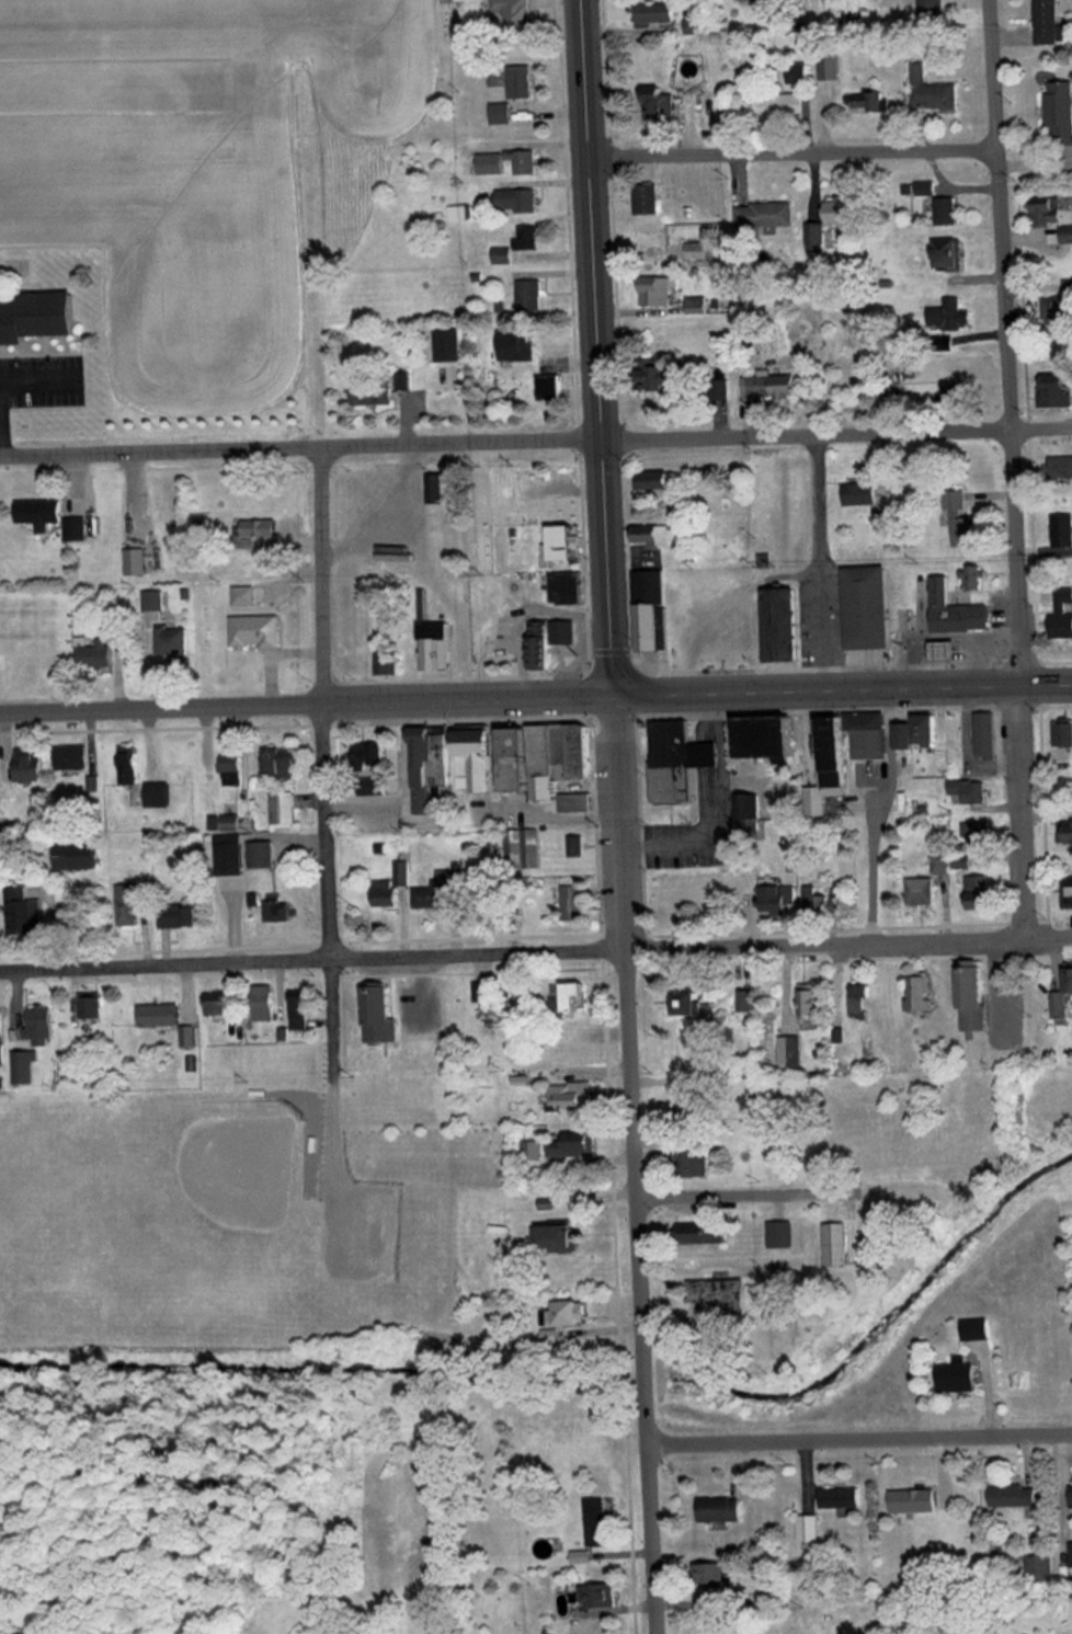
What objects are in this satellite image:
building: (935, 10)
building: (514, 16)
building: (655, 16)
building: (1051, 24)
building: (703, 28)
building: (832, 69)
building: (522, 82)
building: (934, 93)
building: (794, 95)
building: (870, 102)
building: (660, 104)
building: (503, 114)
building: (1061, 115)
road: (792, 152)
building: (525, 162)
building: (648, 195)
building: (518, 201)
building: (1049, 210)
building: (947, 212)
building: (845, 214)
building: (767, 216)
building: (1068, 236)
building: (529, 237)
building: (817, 238)
building: (650, 239)
building: (699, 251)
building: (950, 254)
building: (657, 292)
building: (531, 295)
building: (1059, 309)
building: (953, 315)
building: (41, 317)
building: (449, 345)
building: (518, 346)
road: (598, 347)
building: (663, 377)
building: (403, 381)
building: (552, 388)
building: (772, 388)
building: (1058, 391)
building: (374, 393)
building: (960, 395)
road: (836, 434)
road: (301, 453)
road: (1011, 468)
building: (1061, 469)
building: (735, 473)
building: (660, 480)
building: (437, 490)
building: (860, 494)
building: (36, 512)
building: (961, 521)
building: (256, 528)
building: (78, 529)
building: (1062, 532)
building: (654, 535)
building: (568, 544)
building: (137, 562)
building: (974, 579)
building: (567, 589)
building: (156, 602)
building: (869, 608)
building: (955, 609)
building: (652, 610)
building: (1063, 616)
building: (783, 625)
building: (256, 632)
building: (172, 641)
building: (556, 644)
building: (436, 648)
building: (947, 650)
building: (96, 658)
building: (385, 665)
road: (843, 689)
road: (307, 705)
building: (920, 733)
building: (1063, 734)
building: (869, 736)
building: (987, 736)
building: (771, 739)
building: (834, 755)
building: (73, 758)
building: (549, 758)
building: (478, 762)
building: (677, 762)
building: (284, 763)
building: (35, 766)
building: (129, 766)
building: (433, 767)
building: (370, 769)
building: (233, 770)
building: (968, 792)
building: (158, 793)
building: (577, 803)
building: (283, 809)
building: (748, 809)
building: (231, 824)
road: (326, 830)
building: (978, 833)
building: (578, 847)
building: (524, 850)
building: (261, 856)
building: (78, 857)
building: (966, 864)
building: (391, 888)
building: (437, 891)
building: (922, 892)
building: (1068, 892)
building: (980, 894)
building: (778, 901)
building: (574, 904)
building: (821, 904)
building: (129, 905)
building: (24, 913)
building: (283, 913)
building: (179, 916)
road: (849, 942)
road: (313, 958)
building: (1071, 980)
building: (482, 992)
building: (922, 994)
building: (974, 998)
building: (575, 999)
building: (749, 1002)
building: (814, 1002)
building: (862, 1002)
building: (218, 1004)
building: (263, 1004)
building: (694, 1005)
building: (91, 1006)
building: (1061, 1006)
building: (298, 1010)
building: (159, 1016)
building: (379, 1016)
building: (42, 1019)
building: (2, 1039)
building: (792, 1052)
building: (574, 1056)
building: (572, 1097)
building: (689, 1105)
building: (574, 1147)
building: (695, 1162)
road: (638, 1164)
road: (755, 1205)
park: (153, 1223)
building: (705, 1234)
building: (780, 1236)
building: (563, 1239)
building: (837, 1245)
building: (720, 1294)
building: (568, 1315)
building: (979, 1330)
building: (960, 1378)
road: (860, 1446)
building: (1015, 1497)
building: (840, 1499)
building: (914, 1502)
building: (720, 1510)
building: (597, 1523)
building: (809, 1530)
building: (1071, 1556)
building: (1041, 1572)
building: (710, 1578)
building: (601, 1598)

